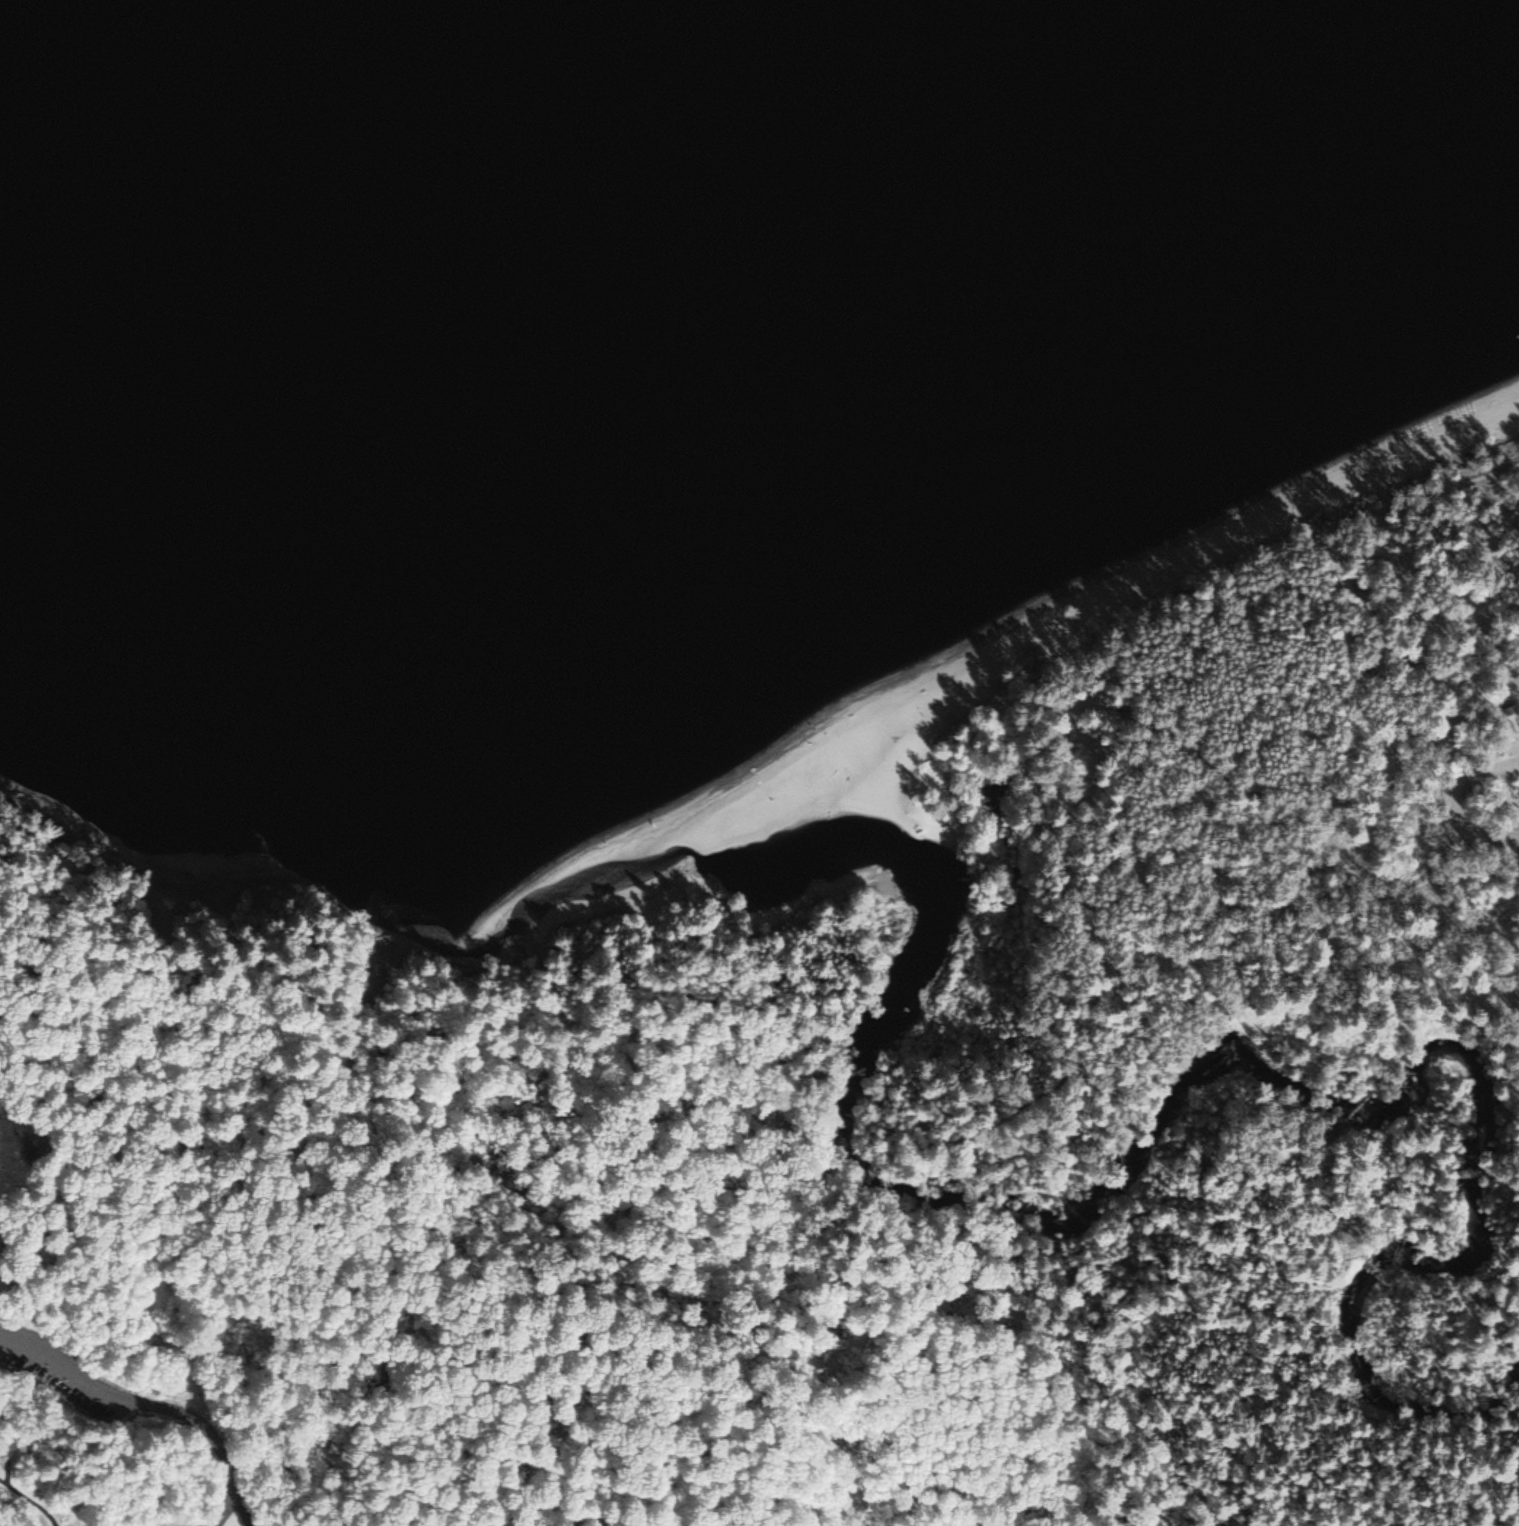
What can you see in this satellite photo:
road: (1206, 643)
road: (1395, 683)
building: (1516, 718)
parking lot: (1515, 735)
road: (1448, 797)
parking lot: (1511, 837)
road: (28, 900)
road: (1301, 901)
road: (21, 965)
road: (47, 1050)
road: (996, 1118)
river: (1061, 1231)
road: (1033, 1241)
road: (1331, 1248)
road: (420, 1268)
parking lot: (59, 1377)
road: (97, 1390)
building: (9, 1456)
road: (237, 1469)
road: (8, 1470)
road: (28, 1499)
road: (228, 1503)

